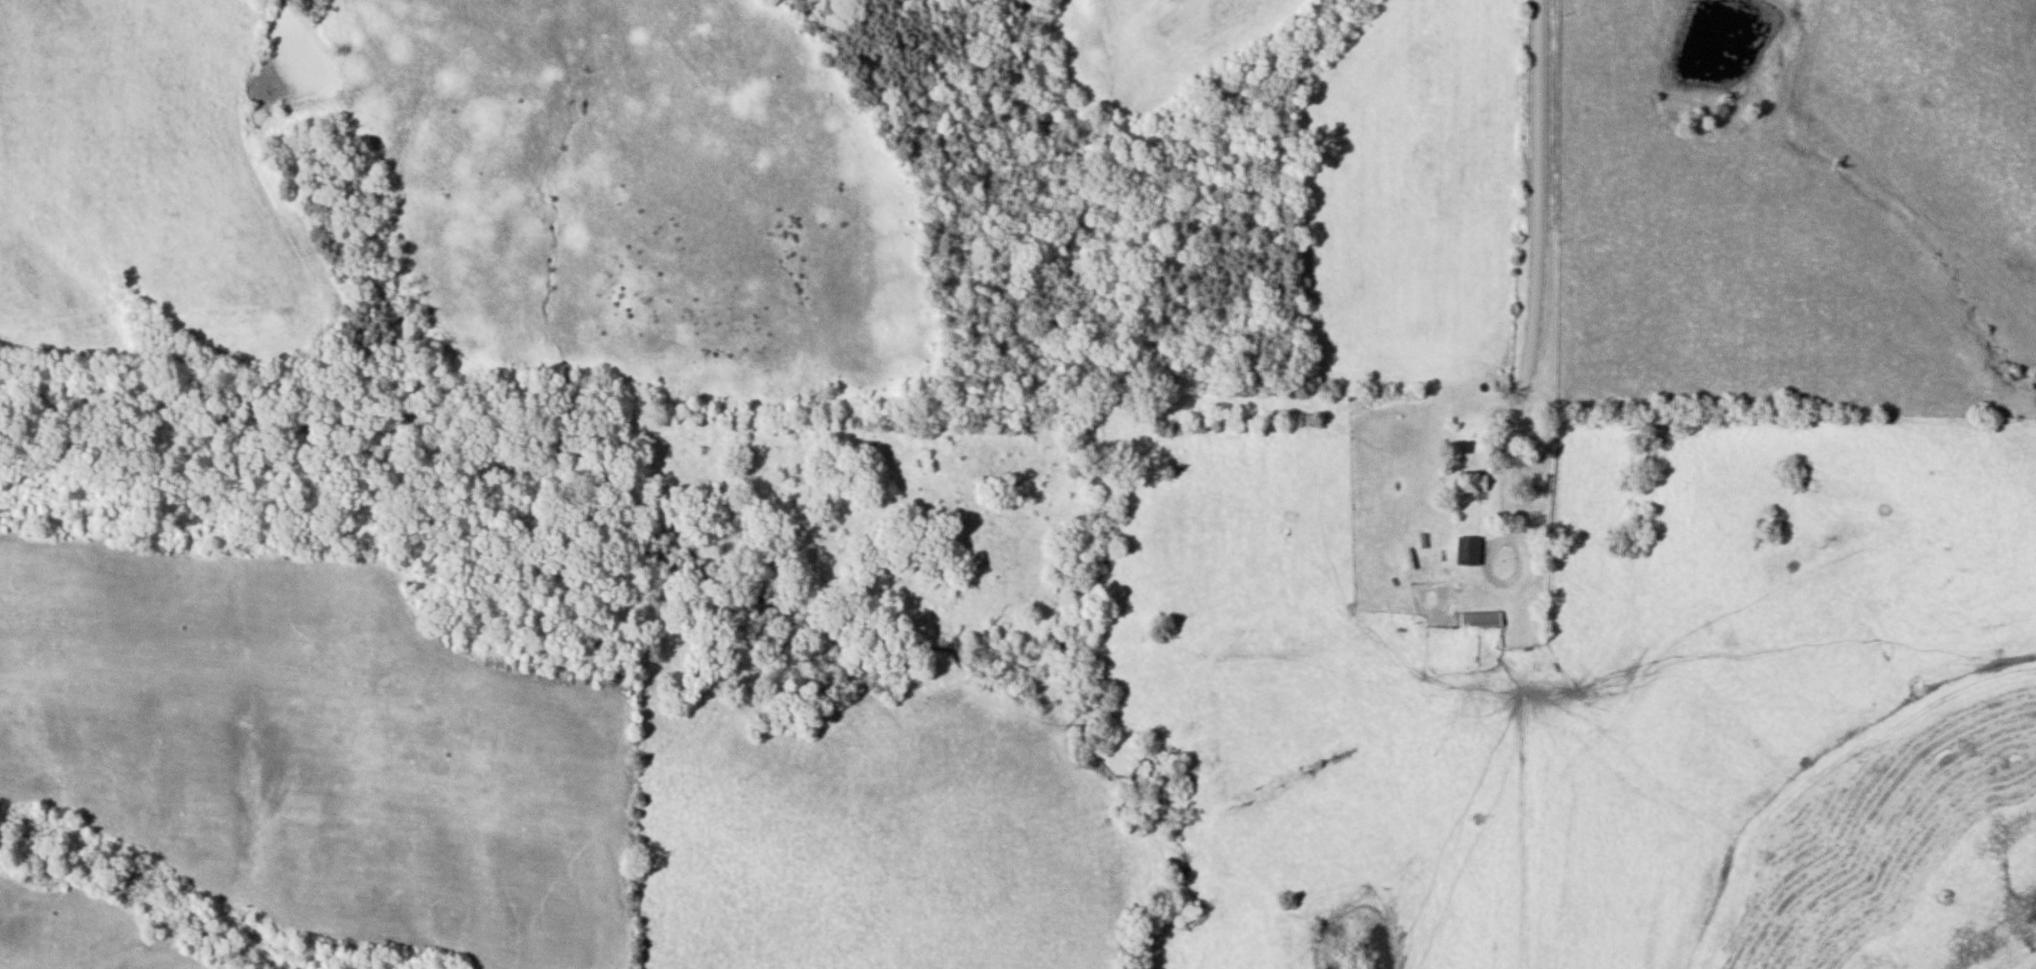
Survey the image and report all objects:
road: (1541, 267)
building: (1466, 480)
building: (1464, 549)
road: (1504, 580)
building: (1478, 617)

